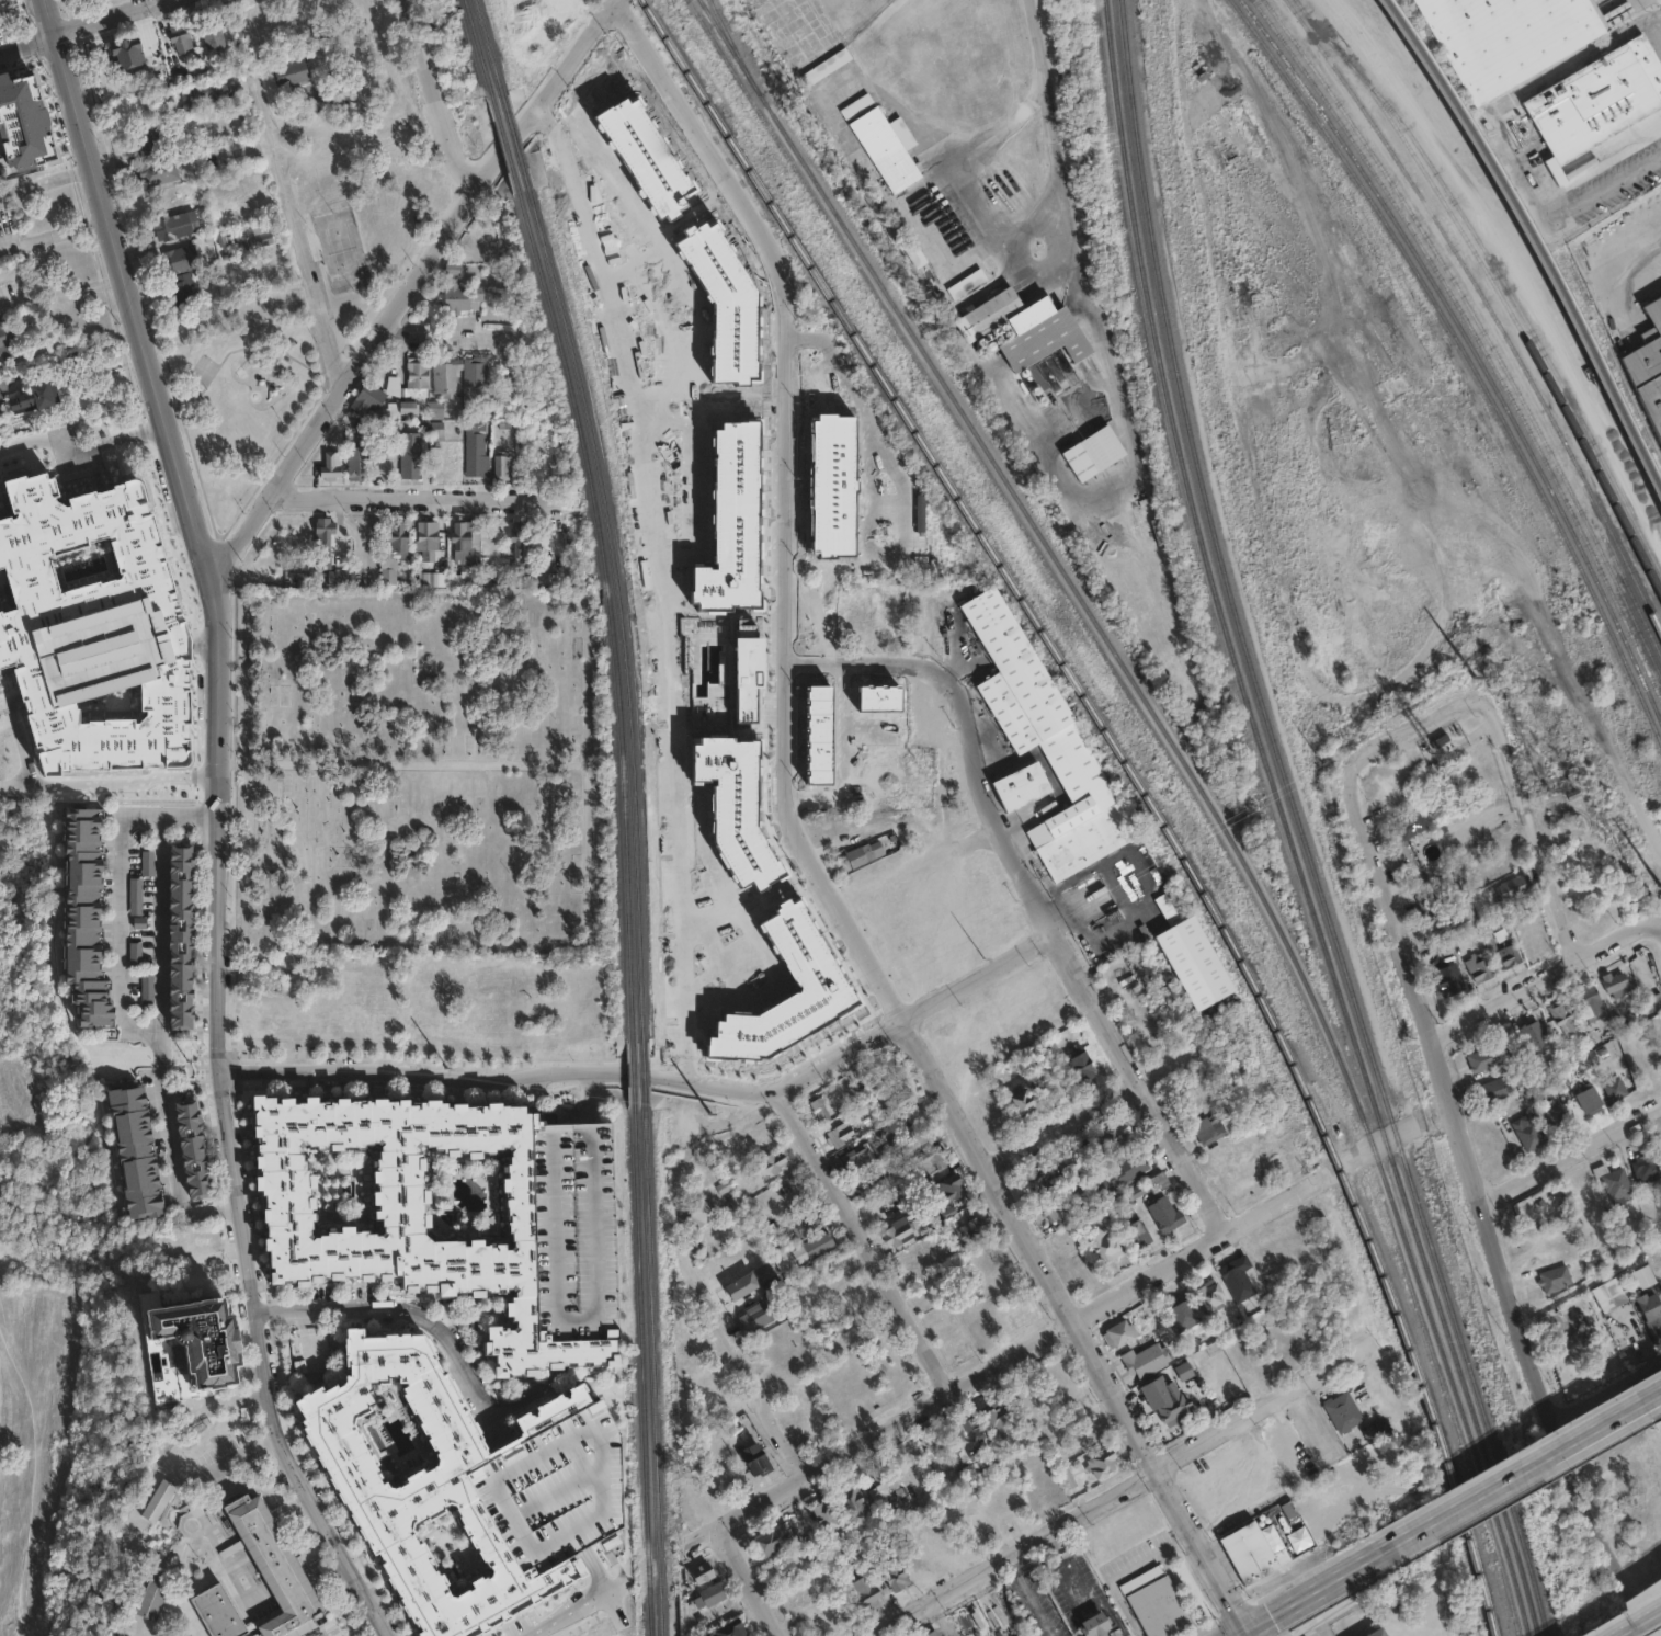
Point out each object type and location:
road: (111, 16)
building: (180, 37)
building: (1506, 37)
building: (213, 38)
railway: (728, 38)
road: (1036, 42)
road: (27, 46)
railway: (488, 47)
railway: (479, 48)
building: (126, 50)
building: (827, 65)
building: (1202, 71)
building: (292, 72)
building: (212, 90)
road: (434, 96)
building: (1599, 99)
building: (337, 104)
road: (910, 118)
railway: (515, 141)
building: (147, 144)
railway: (507, 144)
road: (1602, 149)
building: (887, 150)
building: (158, 172)
road: (45, 182)
building: (177, 226)
road: (297, 227)
road: (53, 236)
railway: (1535, 239)
road: (1011, 240)
building: (251, 243)
building: (482, 246)
park: (316, 247)
building: (915, 253)
building: (182, 260)
railway: (1500, 274)
building: (966, 284)
road: (407, 285)
road: (60, 288)
building: (187, 289)
building: (456, 295)
railway: (1488, 309)
building: (989, 313)
railway: (1480, 329)
railway: (1520, 330)
road: (433, 338)
railway: (1476, 340)
building: (8, 341)
building: (1031, 349)
railway: (1471, 349)
railway: (1608, 353)
railway: (1467, 360)
building: (1649, 364)
building: (470, 372)
building: (413, 376)
building: (442, 377)
building: (1059, 377)
building: (36, 398)
building: (363, 399)
building: (394, 411)
building: (432, 411)
building: (432, 432)
building: (499, 434)
building: (21, 443)
road: (81, 446)
building: (539, 447)
building: (1099, 452)
building: (406, 456)
building: (471, 456)
building: (351, 465)
building: (382, 465)
building: (325, 467)
building: (500, 467)
road: (391, 498)
road: (785, 502)
building: (320, 535)
building: (424, 537)
building: (395, 538)
building: (464, 542)
building: (517, 544)
building: (546, 564)
railway: (1006, 573)
building: (386, 578)
building: (337, 579)
building: (463, 580)
road: (664, 583)
railway: (1630, 593)
railway: (618, 609)
railway: (611, 612)
building: (84, 637)
road: (866, 662)
building: (705, 669)
power tower: (1459, 679)
road: (1417, 728)
railway: (1260, 741)
building: (1440, 745)
building: (1045, 758)
power tower: (1304, 766)
park: (417, 773)
railway: (1182, 780)
railway: (1193, 780)
road: (109, 789)
road: (991, 810)
road: (216, 822)
railway: (1301, 825)
road: (1536, 826)
building: (1412, 827)
building: (862, 856)
power tower: (1153, 856)
building: (145, 865)
building: (1514, 887)
building: (132, 898)
building: (1099, 906)
building: (1429, 907)
building: (1468, 914)
building: (87, 921)
park: (25, 922)
road: (121, 922)
building: (1493, 922)
building: (1440, 930)
road: (1659, 934)
building: (177, 939)
building: (1510, 955)
building: (132, 957)
building: (1480, 968)
building: (287, 973)
power tower: (949, 977)
road: (976, 978)
building: (1450, 978)
road: (1546, 982)
building: (1616, 985)
building: (144, 989)
building: (1652, 1002)
building: (1592, 1004)
road: (160, 1013)
building: (1566, 1018)
building: (1536, 1037)
building: (1483, 1060)
power tower: (195, 1061)
power tower: (412, 1066)
building: (1082, 1070)
road: (800, 1071)
railway: (633, 1075)
road: (455, 1076)
building: (883, 1077)
railway: (642, 1078)
road: (1136, 1084)
building: (1616, 1088)
building: (1494, 1091)
building: (1025, 1100)
building: (1590, 1100)
building: (899, 1109)
power tower: (714, 1113)
building: (819, 1113)
building: (1555, 1114)
road: (1062, 1127)
building: (1213, 1129)
building: (1528, 1132)
building: (840, 1137)
building: (761, 1143)
building: (1103, 1146)
building: (190, 1155)
building: (135, 1156)
road: (1573, 1156)
building: (1069, 1161)
building: (856, 1163)
building: (932, 1164)
building: (770, 1167)
building: (1129, 1168)
building: (1646, 1168)
building: (1055, 1179)
building: (1617, 1184)
building: (871, 1188)
building: (947, 1191)
building: (1144, 1193)
road: (1486, 1205)
building: (1164, 1216)
building: (410, 1217)
building: (1045, 1218)
building: (696, 1219)
building: (972, 1226)
building: (806, 1229)
building: (573, 1230)
parking garage: (573, 1230)
building: (899, 1231)
building: (1135, 1235)
road: (860, 1240)
building: (196, 1246)
building: (1107, 1248)
building: (818, 1249)
building: (912, 1259)
park: (84, 1271)
building: (1238, 1276)
building: (1642, 1276)
building: (749, 1280)
building: (1556, 1280)
building: (197, 1282)
building: (1611, 1295)
building: (1211, 1298)
building: (1652, 1307)
road: (411, 1316)
building: (755, 1316)
building: (1184, 1316)
road: (1073, 1330)
building: (1120, 1332)
road: (308, 1342)
road: (1006, 1359)
building: (1148, 1359)
building: (190, 1360)
building: (1184, 1371)
railway: (641, 1372)
road: (752, 1372)
railway: (651, 1376)
road: (523, 1396)
railway: (1427, 1397)
road: (1596, 1397)
building: (1165, 1404)
building: (723, 1409)
building: (1343, 1413)
road: (1628, 1415)
road: (1069, 1419)
building: (1000, 1423)
building: (1378, 1430)
building: (969, 1443)
building: (749, 1450)
park: (43, 1458)
road: (1544, 1461)
building: (1102, 1466)
building: (1068, 1477)
building: (425, 1484)
building: (881, 1485)
road: (1318, 1486)
building: (557, 1487)
parking garage: (557, 1487)
road: (1129, 1489)
road: (26, 1492)
road: (543, 1498)
building: (164, 1500)
building: (851, 1501)
building: (826, 1515)
building: (889, 1520)
building: (773, 1542)
building: (614, 1544)
railway: (1514, 1550)
building: (1248, 1552)
building: (281, 1568)
road: (594, 1570)
building: (894, 1572)
building: (699, 1575)
road: (751, 1580)
road: (1340, 1580)
building: (864, 1590)
building: (157, 1592)
building: (709, 1594)
building: (1152, 1602)
road: (573, 1605)
building: (223, 1611)
road: (1639, 1621)
building: (1103, 1624)
road: (1641, 1624)
building: (731, 1627)
traffic signals: (1253, 1632)
building: (931, 1633)
building: (1377, 1633)
road: (1249, 1634)

